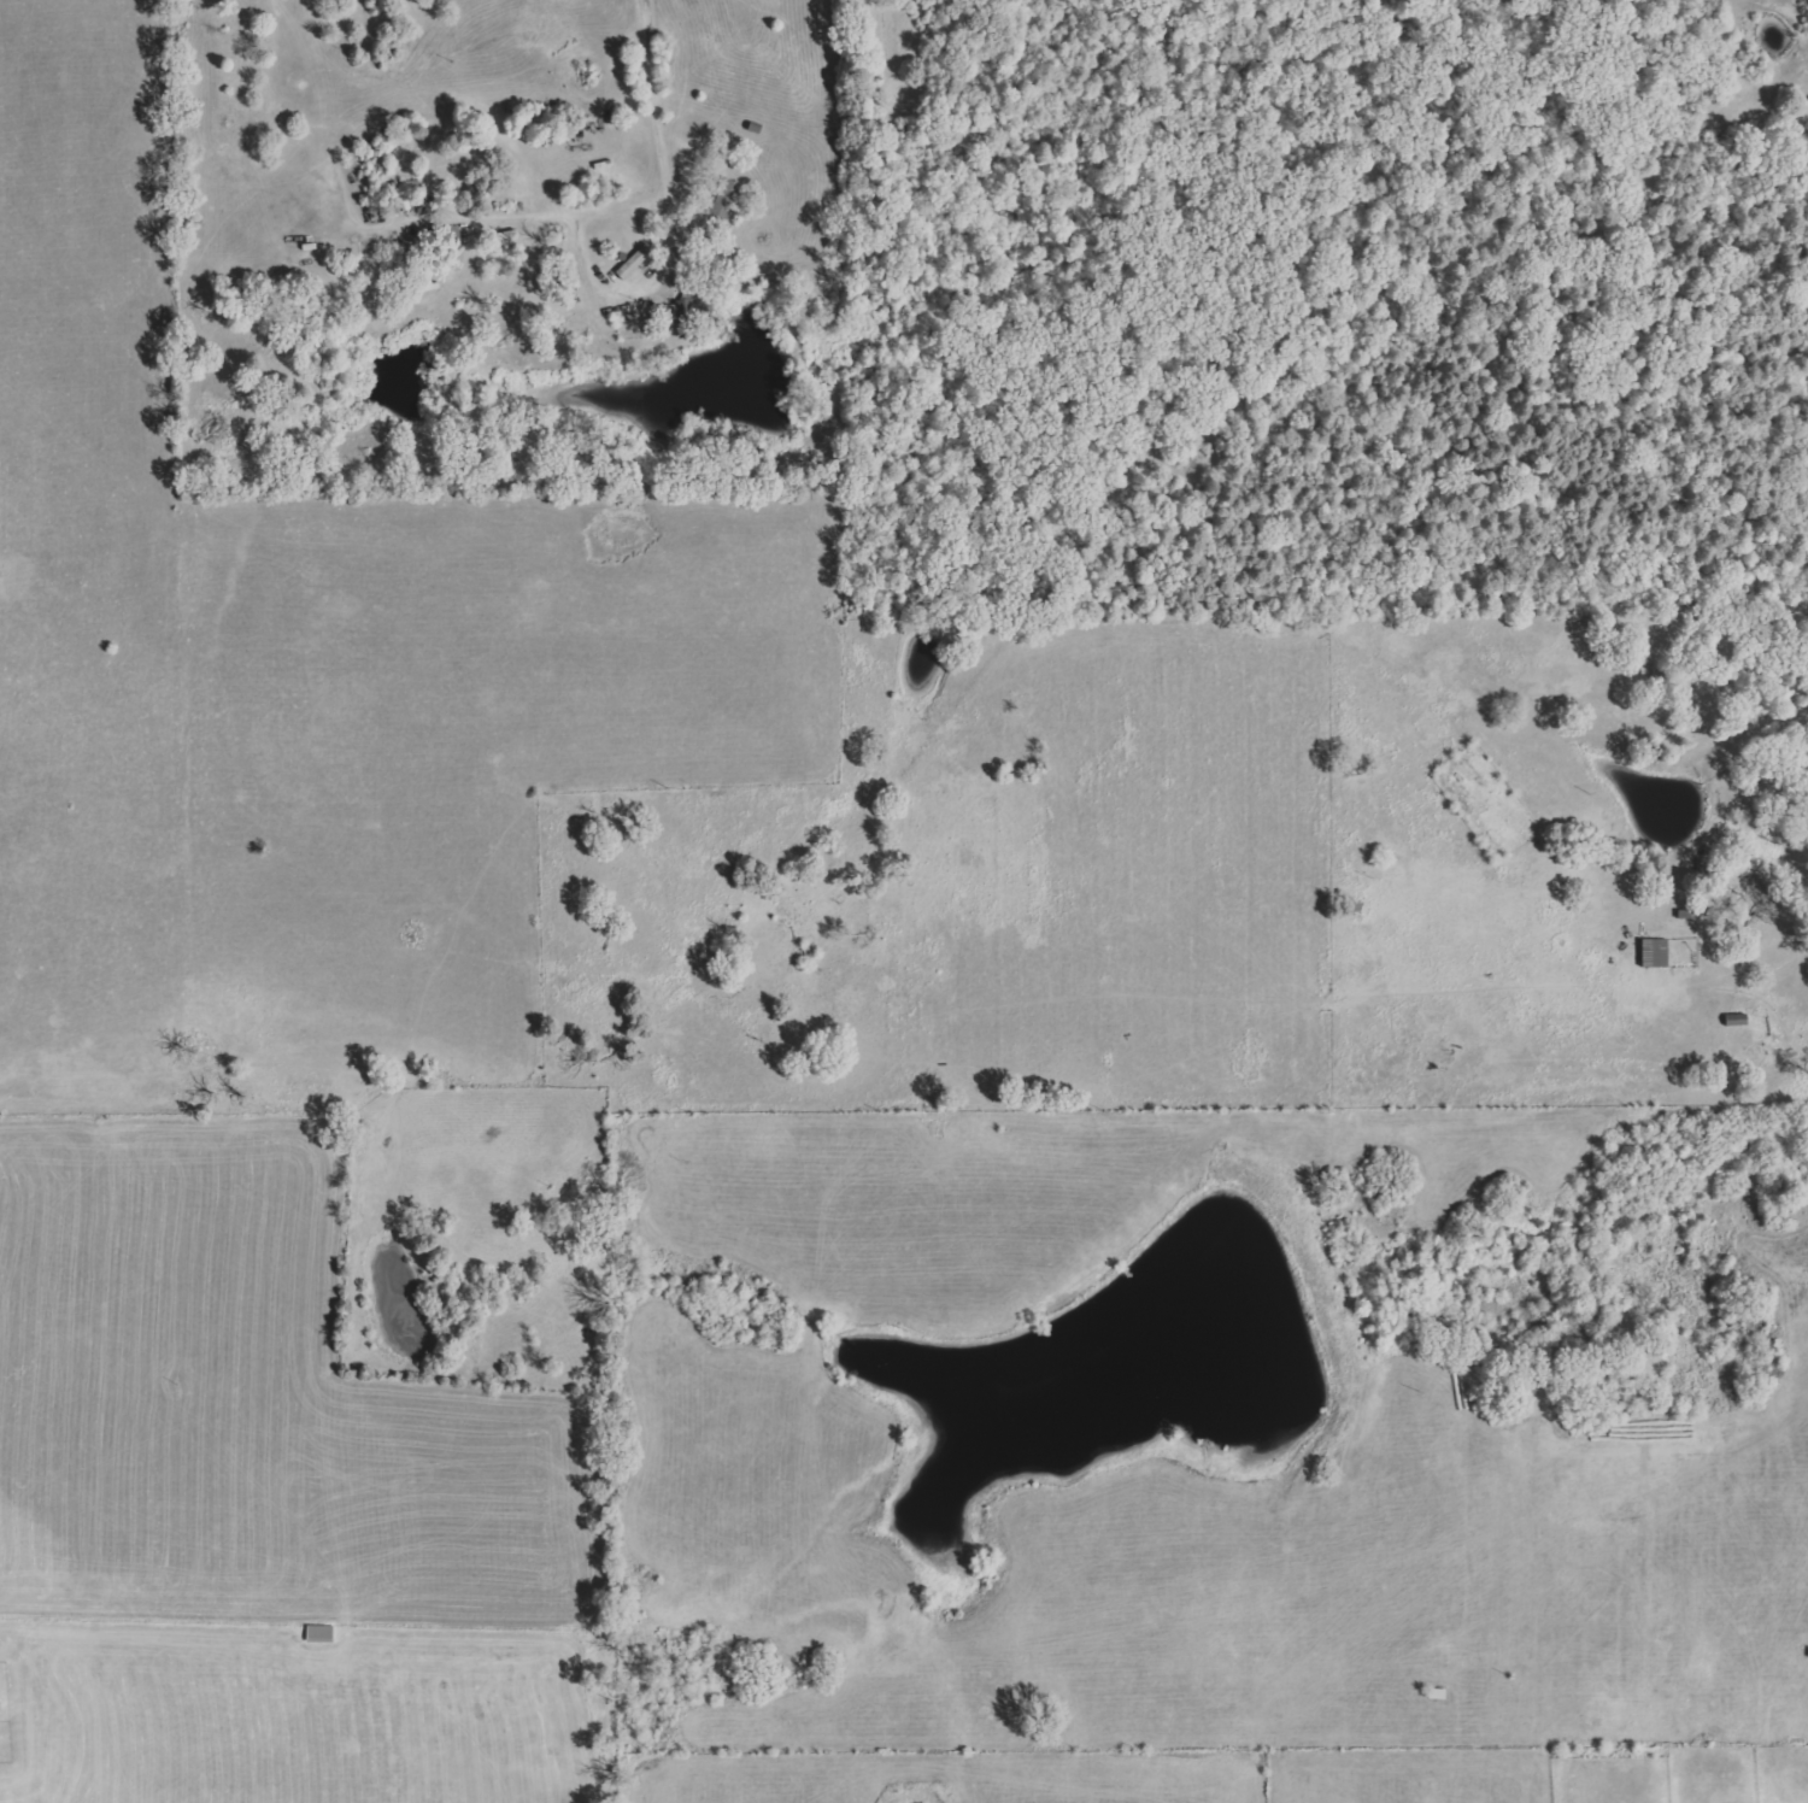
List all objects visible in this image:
road: (654, 98)
building: (638, 263)
building: (683, 312)
building: (1659, 953)
road: (1775, 1079)

